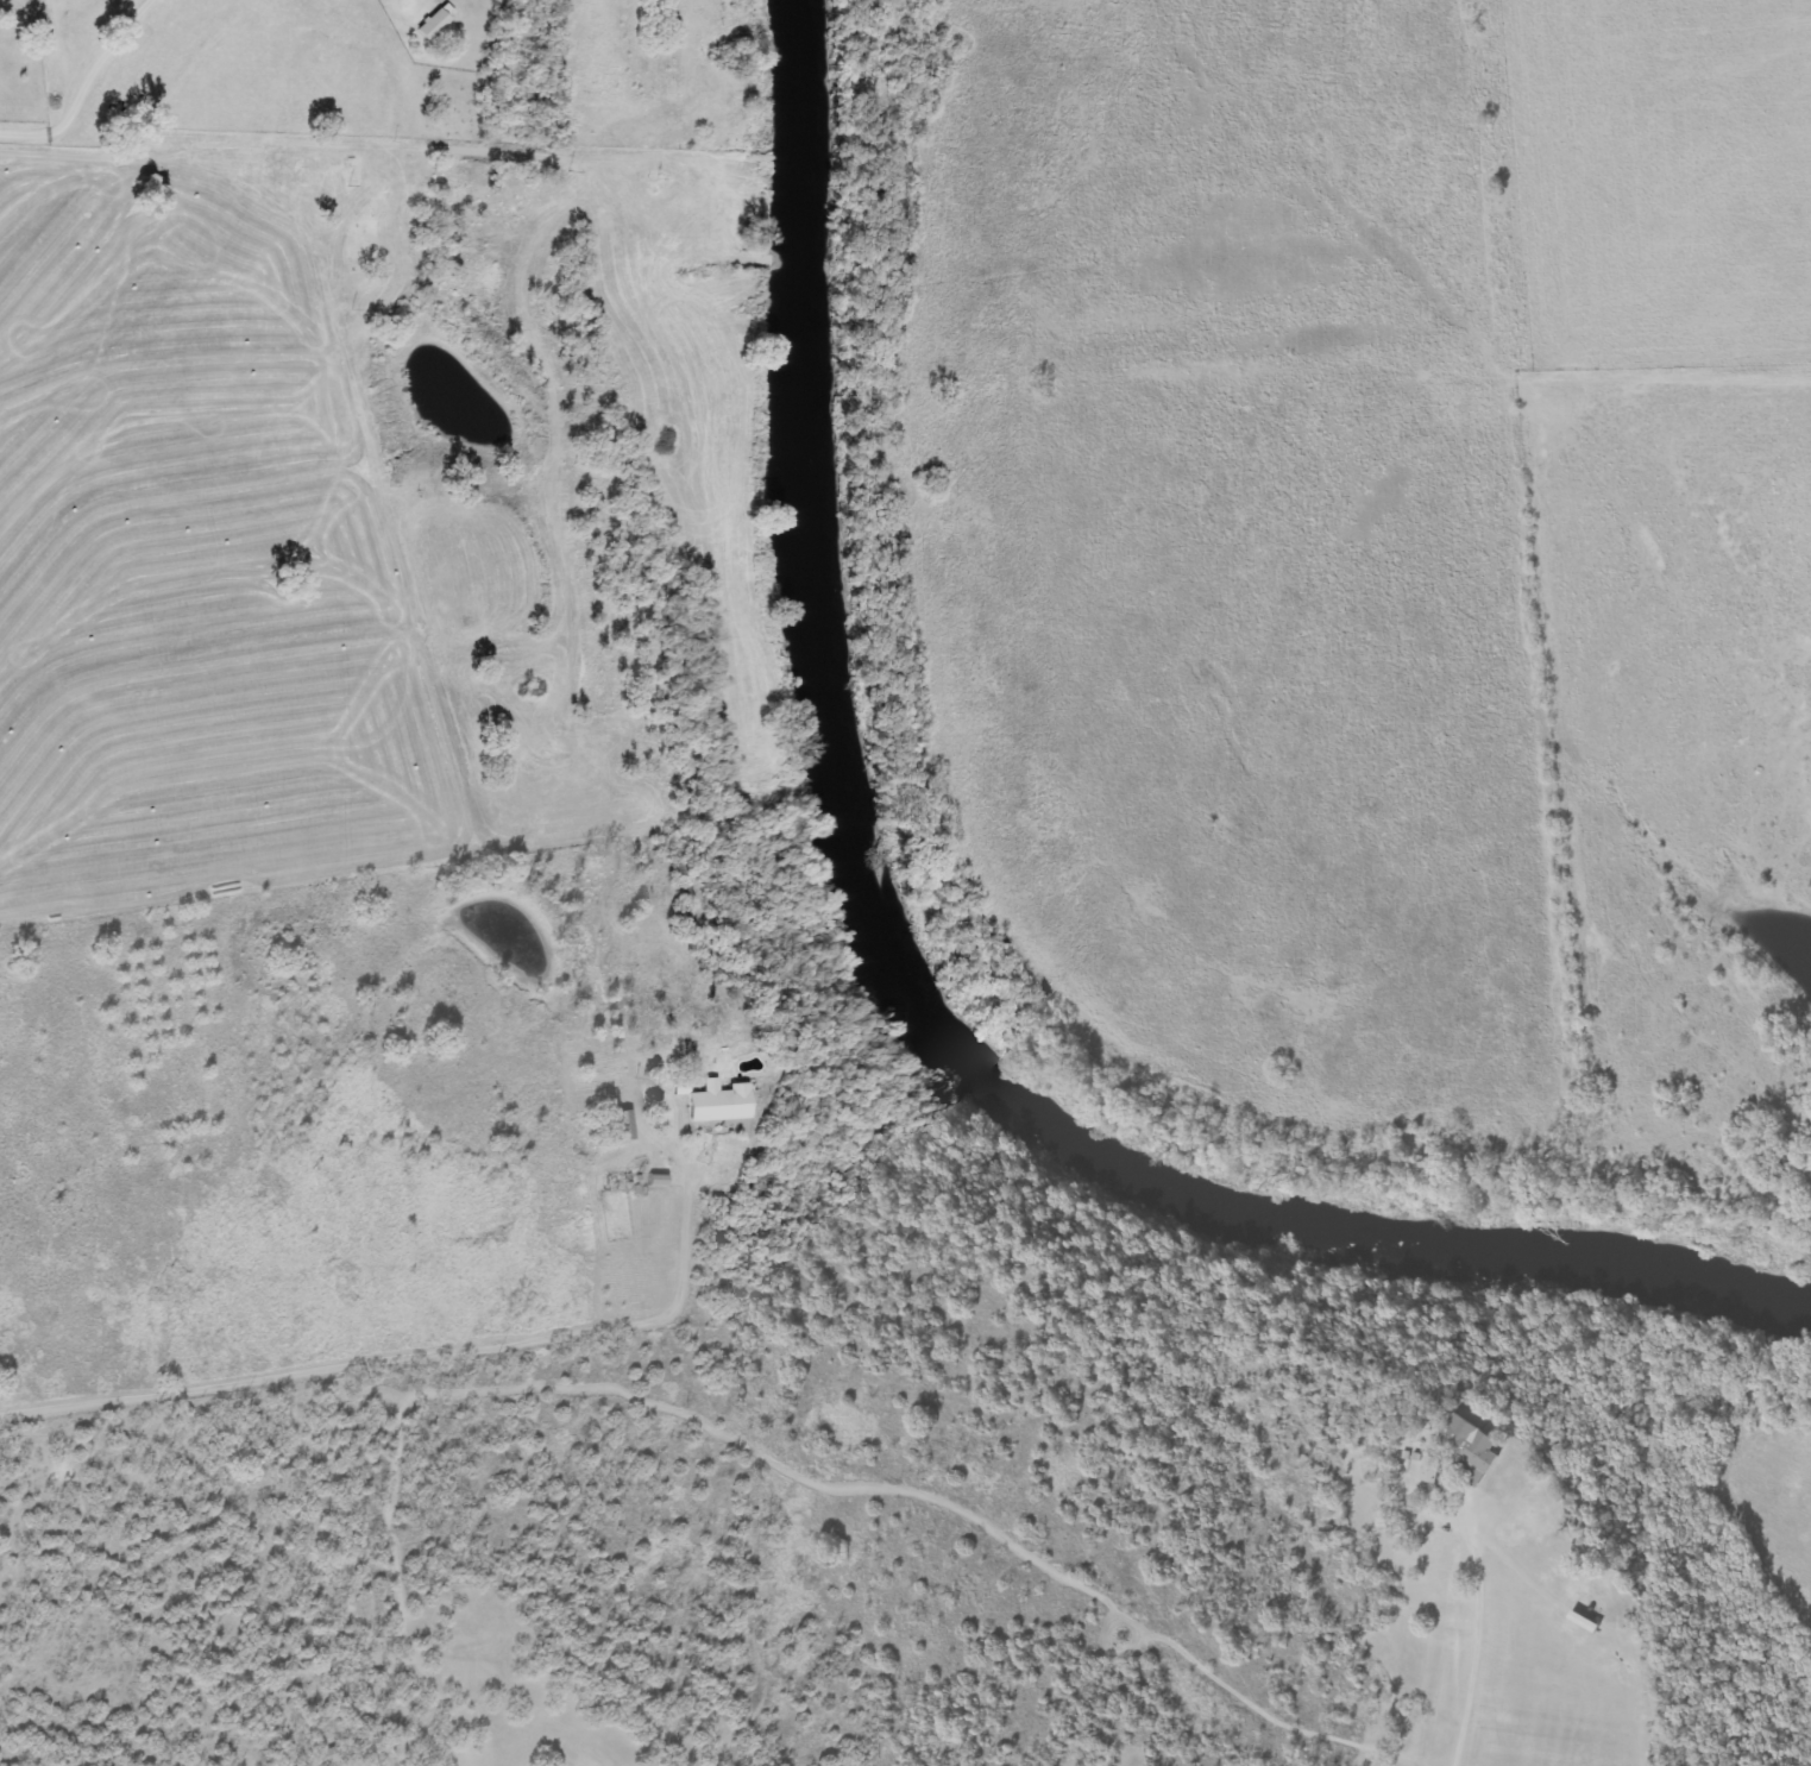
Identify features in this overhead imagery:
building: (435, 23)
road: (52, 89)
road: (264, 145)
building: (321, 161)
building: (718, 1100)
building: (618, 1182)
road: (389, 1353)
building: (1471, 1447)
building: (1587, 1621)
road: (1471, 1636)

